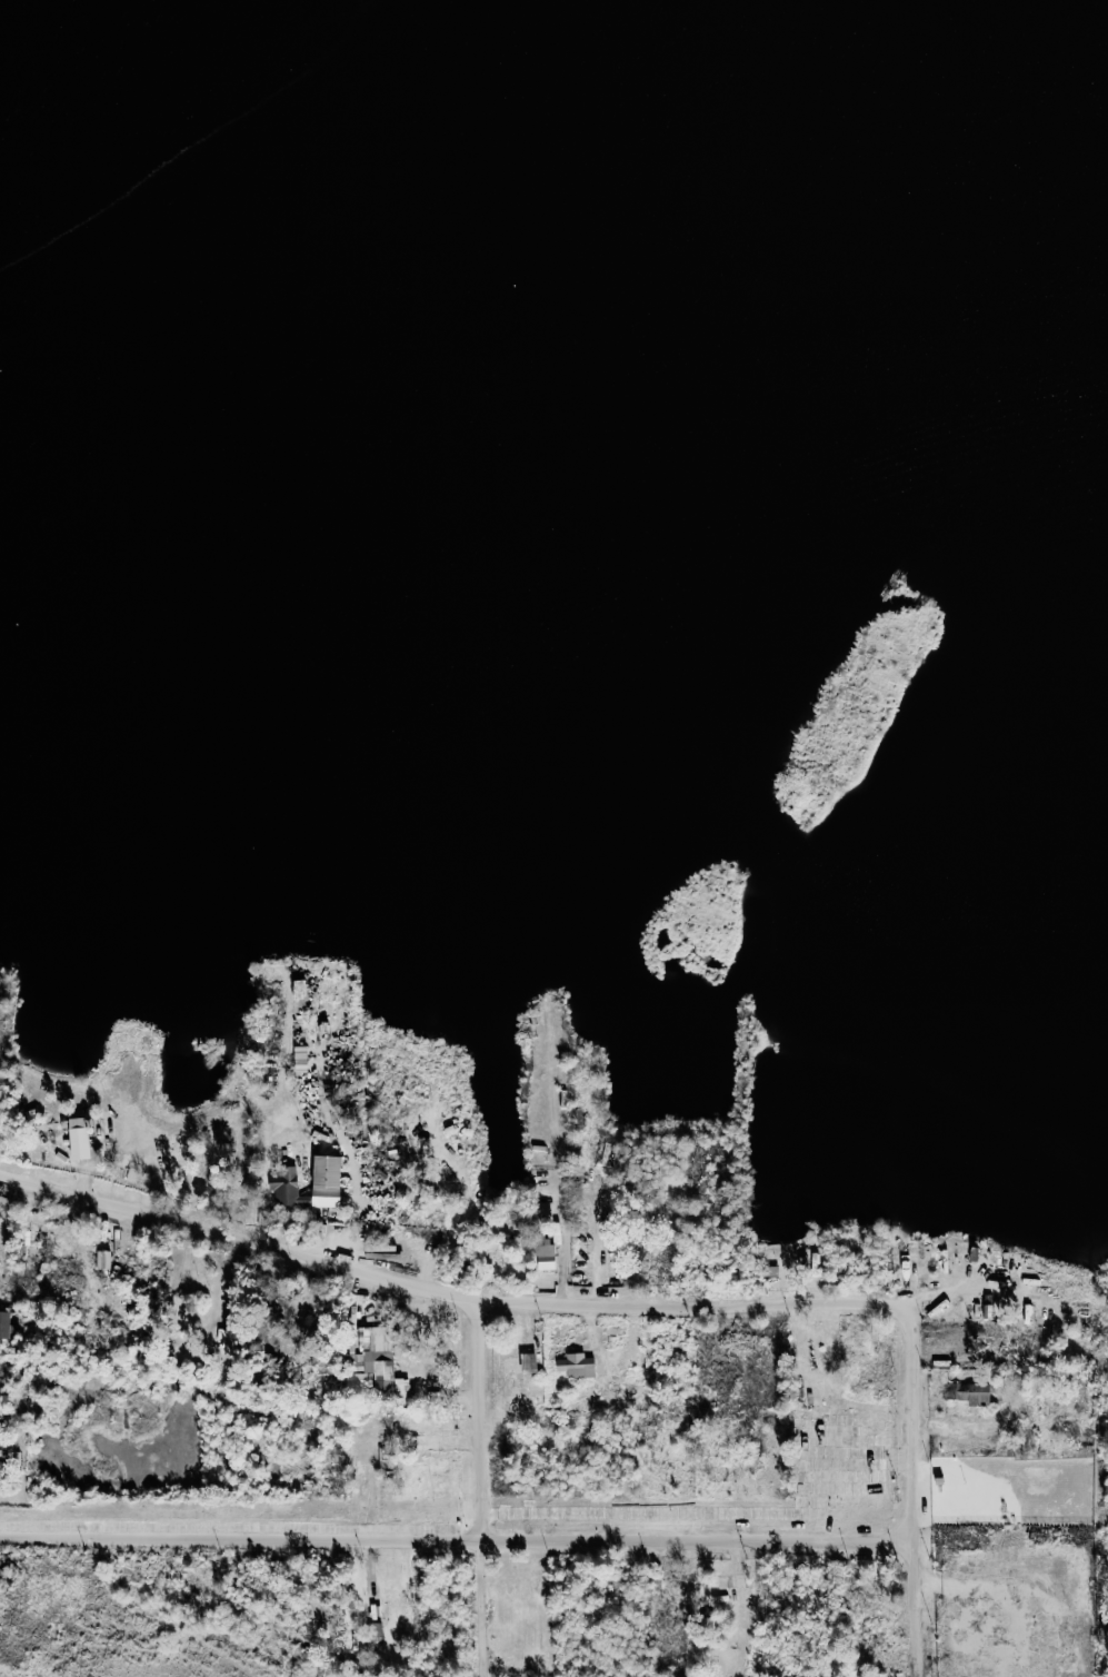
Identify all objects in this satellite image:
building: (563, 1120)
building: (79, 1142)
building: (204, 1169)
building: (323, 1180)
building: (285, 1188)
building: (542, 1253)
building: (815, 1263)
building: (31, 1266)
building: (770, 1270)
road: (446, 1289)
building: (988, 1306)
building: (978, 1307)
building: (1016, 1310)
building: (1027, 1310)
building: (4, 1322)
building: (613, 1331)
building: (227, 1340)
building: (629, 1342)
building: (363, 1344)
building: (528, 1362)
building: (576, 1366)
building: (377, 1373)
building: (965, 1392)
building: (732, 1420)
building: (999, 1441)
building: (718, 1450)
road: (478, 1486)
road: (921, 1489)
road: (462, 1537)
building: (726, 1585)
building: (868, 1600)
building: (673, 1611)
building: (946, 1639)
quarry: (143, 1658)

